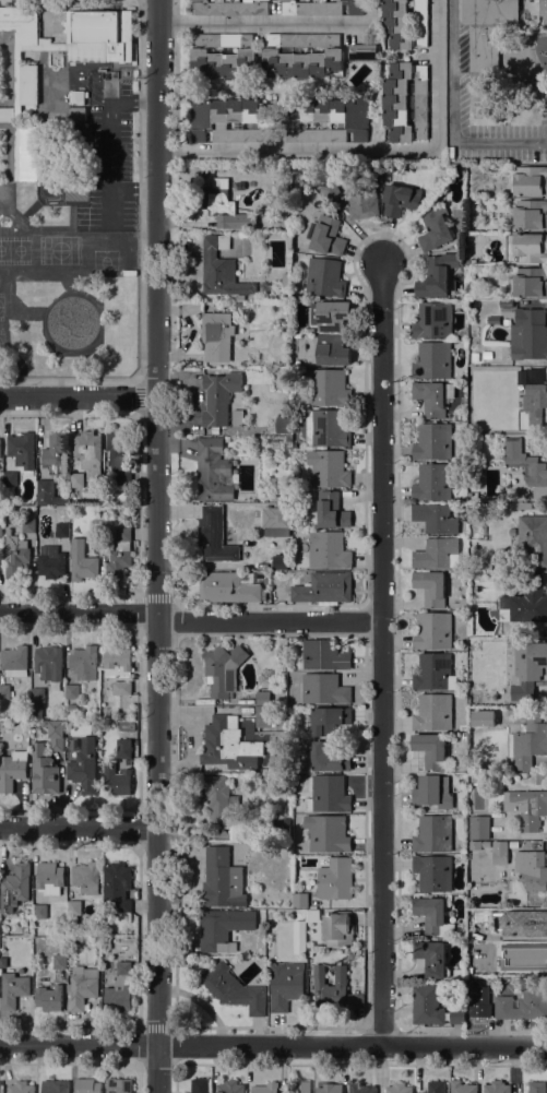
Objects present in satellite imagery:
building: (231, 8)
building: (321, 8)
road: (260, 23)
building: (405, 24)
building: (491, 28)
building: (98, 36)
building: (259, 52)
building: (362, 52)
building: (223, 55)
building: (304, 56)
road: (175, 75)
building: (25, 84)
building: (78, 97)
building: (405, 102)
building: (78, 112)
building: (7, 115)
road: (452, 115)
building: (231, 119)
building: (326, 119)
road: (369, 151)
building: (530, 180)
building: (299, 182)
building: (331, 190)
building: (361, 197)
building: (400, 199)
building: (476, 200)
building: (222, 202)
building: (527, 214)
building: (435, 227)
building: (325, 236)
building: (526, 248)
road: (139, 258)
building: (466, 262)
building: (221, 269)
building: (436, 275)
building: (323, 277)
building: (285, 278)
building: (527, 282)
building: (239, 297)
building: (330, 314)
building: (492, 319)
building: (432, 320)
building: (528, 334)
building: (216, 335)
building: (333, 349)
building: (487, 355)
building: (475, 357)
building: (432, 360)
building: (522, 372)
building: (326, 385)
road: (78, 395)
building: (219, 396)
building: (432, 397)
building: (535, 402)
building: (235, 417)
building: (284, 425)
building: (326, 428)
building: (226, 438)
building: (433, 441)
building: (22, 451)
building: (57, 453)
building: (88, 453)
building: (119, 454)
building: (526, 466)
building: (330, 468)
building: (213, 471)
building: (10, 478)
building: (76, 479)
building: (432, 483)
building: (44, 491)
building: (518, 507)
building: (332, 511)
building: (436, 518)
building: (276, 521)
building: (28, 525)
building: (61, 530)
building: (0, 531)
building: (512, 532)
building: (95, 534)
building: (214, 536)
building: (534, 537)
road: (156, 546)
building: (328, 550)
building: (437, 554)
building: (15, 555)
building: (120, 556)
building: (50, 561)
building: (82, 562)
building: (280, 562)
building: (487, 563)
building: (203, 571)
building: (274, 572)
building: (229, 587)
building: (430, 587)
building: (324, 589)
building: (527, 601)
road: (79, 611)
road: (269, 621)
building: (432, 631)
road: (381, 652)
building: (324, 655)
building: (48, 661)
building: (14, 662)
building: (84, 663)
building: (118, 668)
building: (223, 669)
building: (527, 669)
building: (435, 673)
building: (275, 682)
building: (324, 689)
building: (4, 691)
building: (72, 691)
building: (37, 694)
building: (263, 698)
building: (72, 708)
building: (433, 712)
building: (262, 715)
building: (329, 720)
building: (94, 725)
building: (55, 734)
building: (527, 741)
building: (226, 744)
building: (258, 749)
building: (431, 750)
building: (123, 751)
building: (329, 757)
building: (84, 767)
building: (12, 770)
building: (44, 772)
building: (117, 780)
building: (432, 791)
building: (329, 794)
building: (219, 798)
building: (526, 807)
road: (78, 825)
building: (479, 828)
building: (282, 829)
building: (245, 833)
building: (328, 834)
building: (433, 834)
building: (474, 844)
building: (486, 845)
building: (500, 853)
building: (532, 869)
building: (432, 872)
building: (50, 878)
building: (86, 878)
building: (117, 878)
building: (222, 879)
building: (335, 879)
building: (14, 887)
building: (299, 899)
building: (123, 906)
building: (74, 907)
building: (39, 912)
building: (432, 915)
building: (312, 916)
building: (525, 924)
building: (221, 927)
building: (337, 929)
building: (300, 941)
building: (524, 955)
building: (431, 958)
building: (59, 961)
building: (471, 981)
building: (285, 985)
building: (82, 987)
building: (119, 988)
building: (334, 988)
building: (12, 989)
building: (234, 989)
building: (48, 998)
building: (477, 1001)
building: (427, 1005)
building: (523, 1006)
building: (457, 1015)
building: (483, 1022)
road: (273, 1045)
building: (87, 1085)
building: (119, 1085)
building: (200, 1085)
building: (0, 1086)
building: (55, 1086)
building: (230, 1086)
building: (301, 1086)
building: (436, 1086)
building: (497, 1086)
building: (537, 1086)
building: (20, 1088)
building: (265, 1088)
building: (360, 1088)
building: (399, 1088)
building: (462, 1088)
building: (330, 1089)

